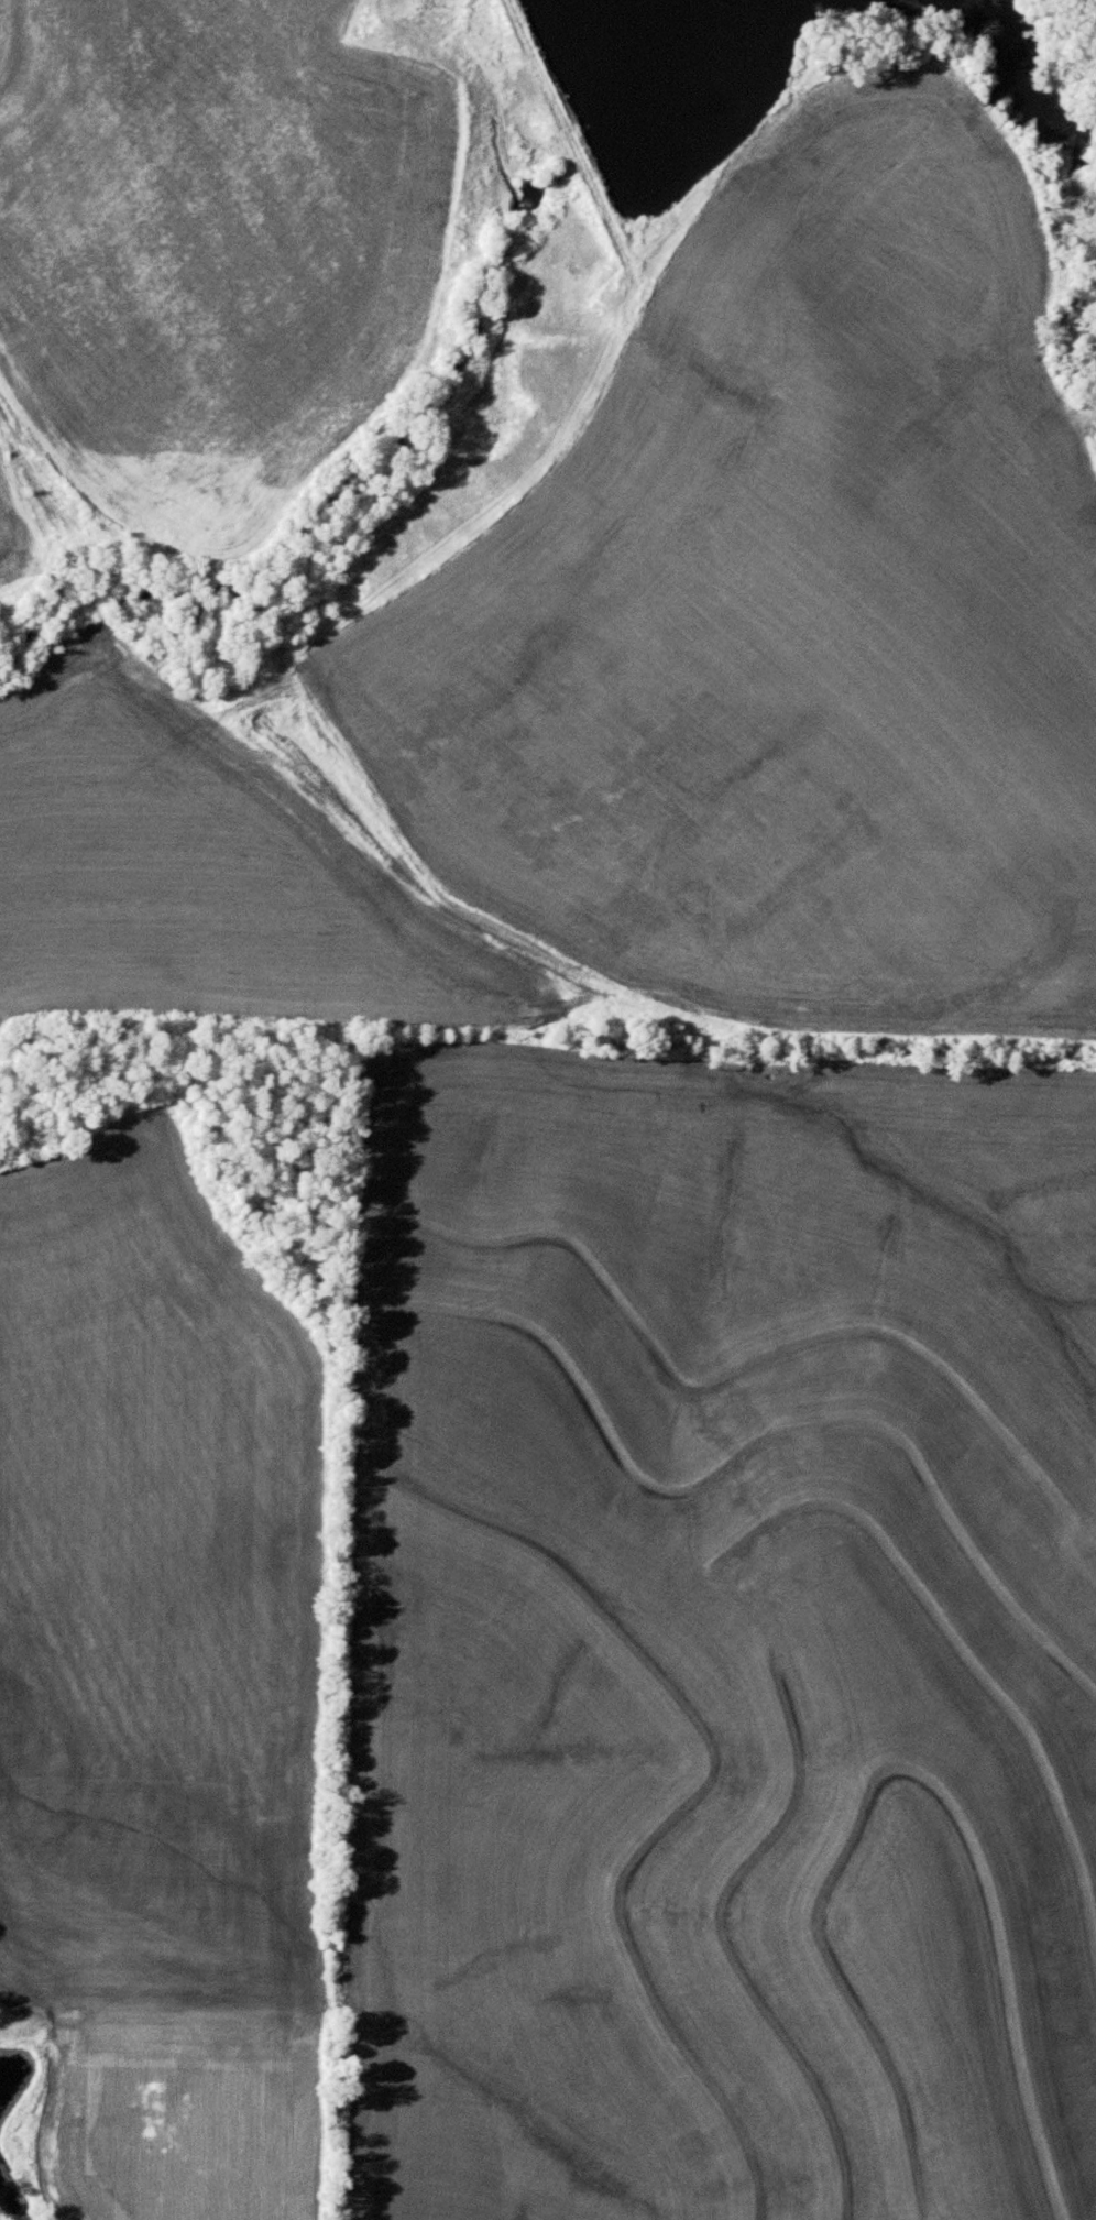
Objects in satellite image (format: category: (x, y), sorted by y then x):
dam: (580, 101)

